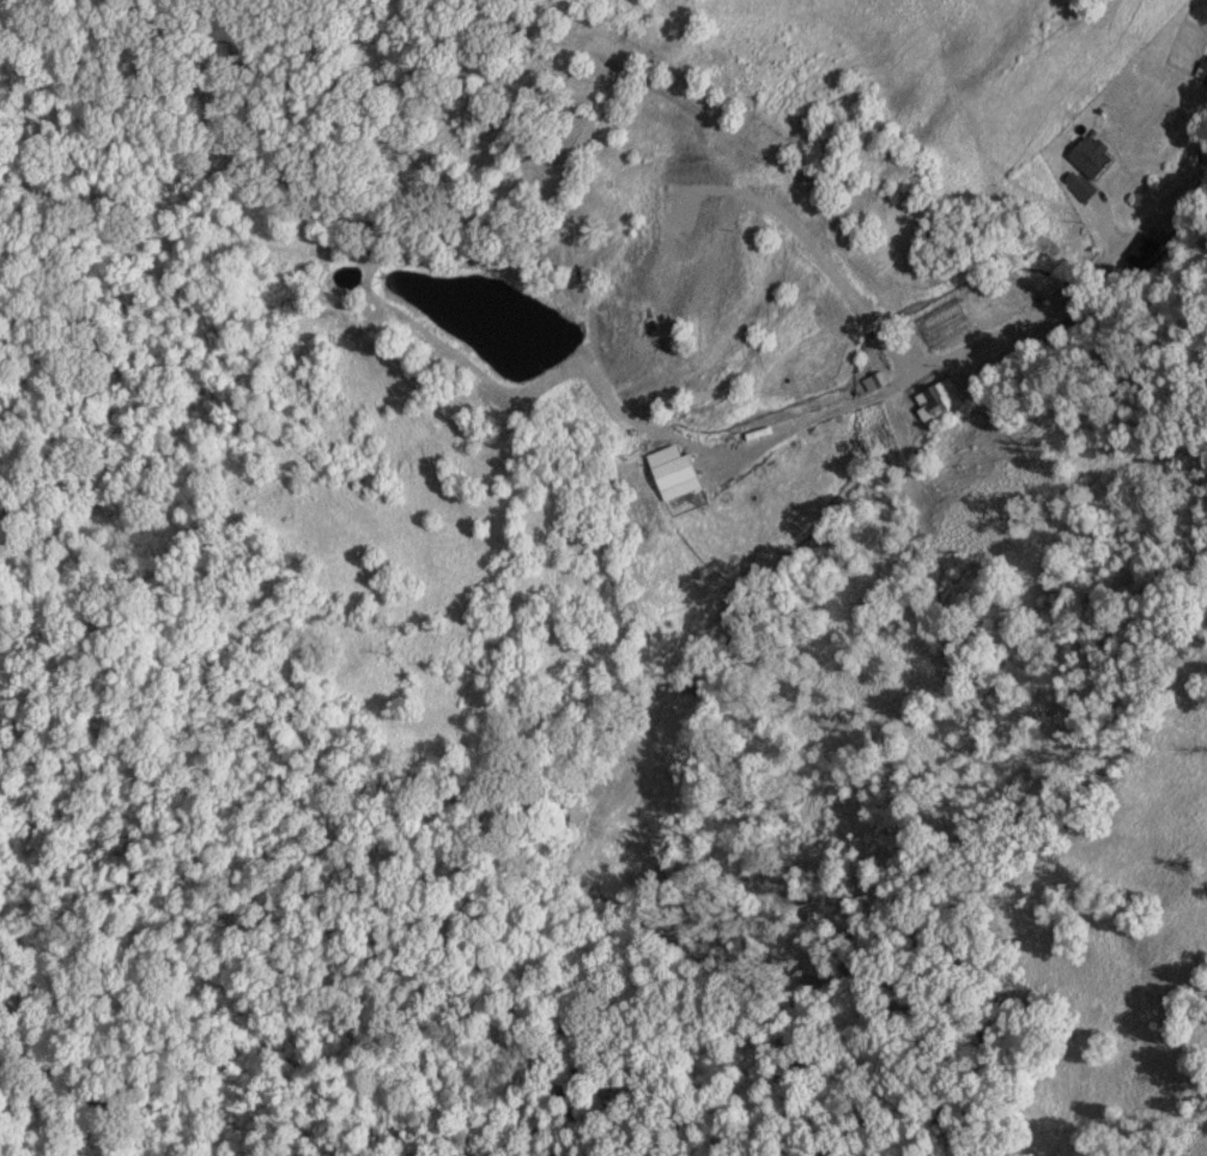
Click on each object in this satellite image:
road: (929, 368)

